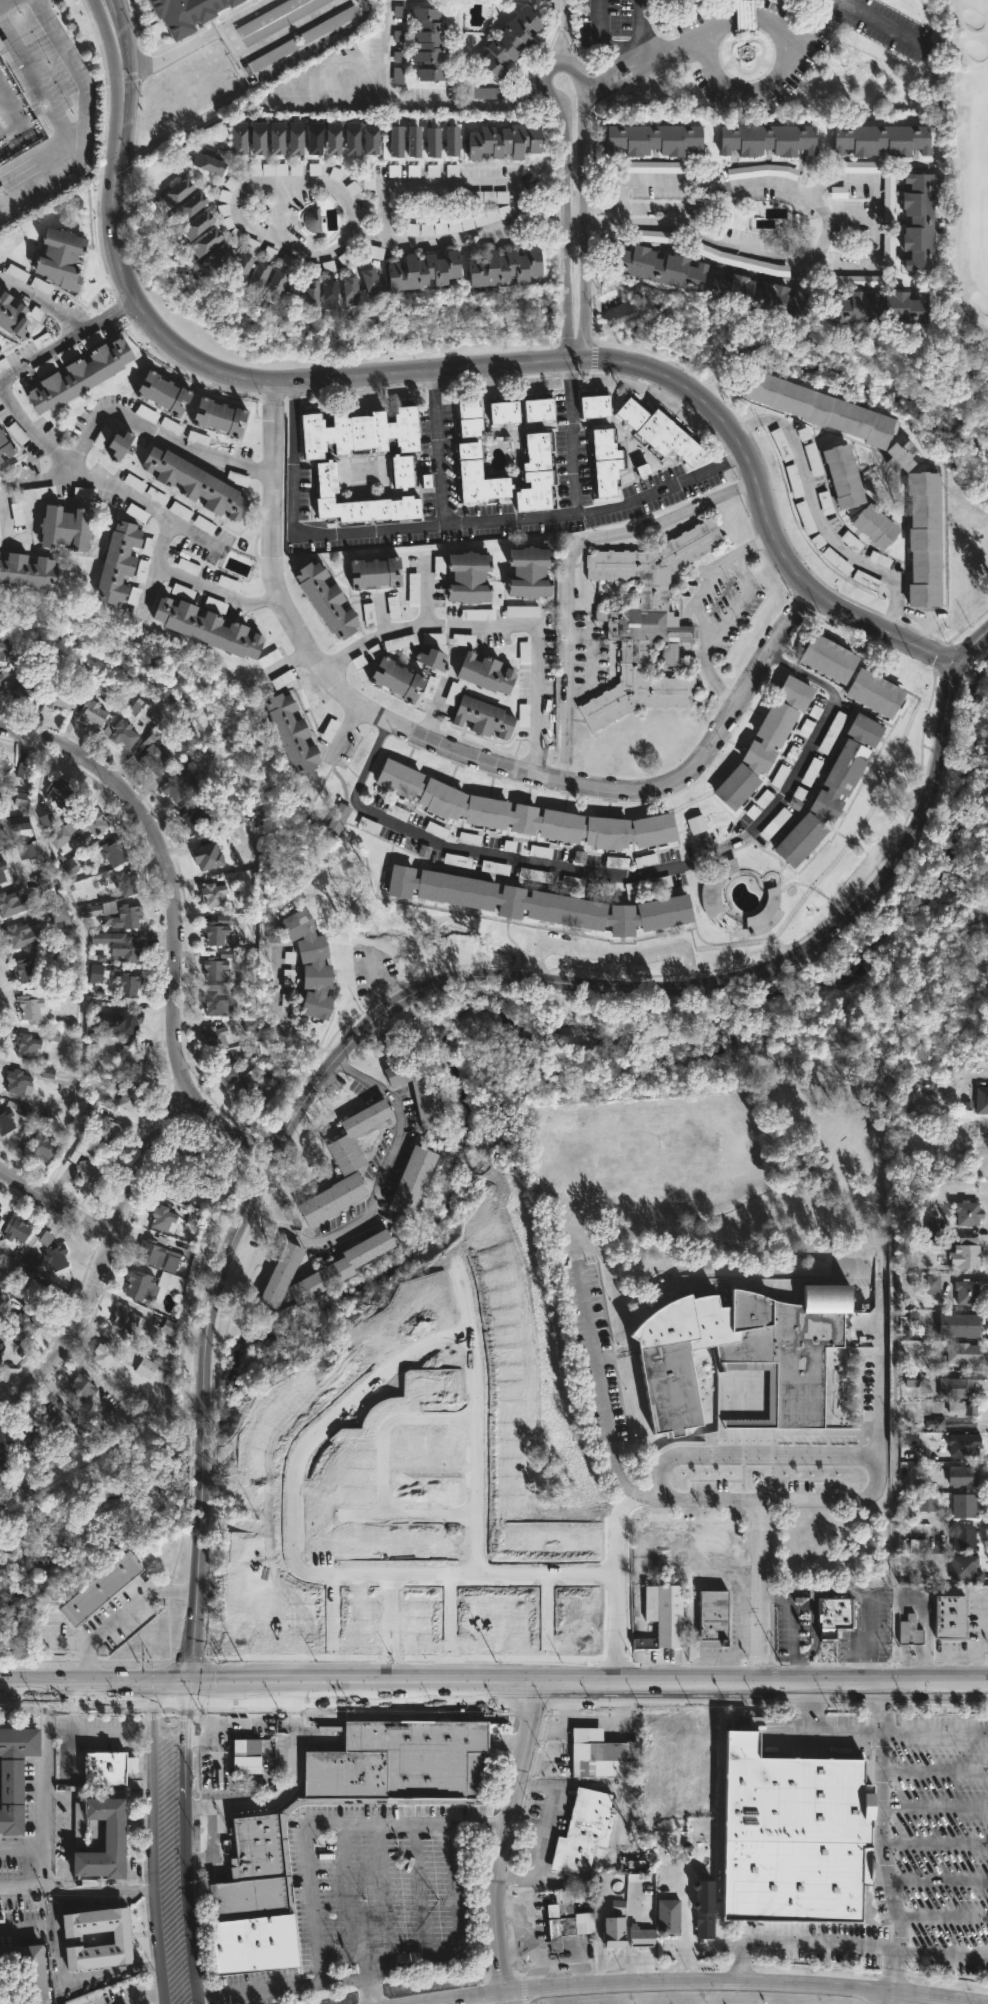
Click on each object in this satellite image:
building: (801, 0)
building: (675, 1)
building: (687, 2)
road: (5, 3)
building: (184, 13)
building: (747, 15)
building: (280, 18)
road: (809, 24)
road: (882, 24)
building: (329, 25)
road: (561, 26)
road: (641, 28)
road: (195, 34)
road: (601, 36)
building: (512, 42)
building: (429, 45)
road: (647, 54)
building: (274, 56)
road: (562, 58)
road: (643, 69)
road: (757, 90)
road: (545, 96)
road: (409, 98)
road: (583, 111)
road: (84, 122)
building: (313, 136)
building: (332, 136)
building: (351, 136)
building: (370, 136)
building: (238, 137)
building: (294, 137)
building: (258, 138)
building: (276, 138)
building: (504, 138)
building: (656, 139)
building: (767, 139)
building: (883, 140)
building: (395, 141)
building: (452, 141)
building: (413, 142)
building: (432, 142)
building: (207, 162)
road: (959, 174)
road: (659, 175)
road: (439, 180)
park: (968, 190)
building: (177, 192)
building: (191, 205)
road: (657, 207)
road: (601, 208)
road: (574, 214)
road: (621, 215)
road: (693, 215)
building: (312, 218)
road: (851, 219)
building: (919, 219)
road: (566, 221)
building: (197, 224)
road: (876, 224)
building: (207, 240)
road: (319, 251)
building: (57, 254)
building: (220, 254)
road: (795, 255)
building: (656, 265)
building: (504, 266)
building: (240, 269)
building: (422, 270)
building: (257, 277)
building: (370, 280)
road: (583, 282)
building: (273, 285)
building: (349, 289)
building: (734, 289)
building: (311, 292)
building: (328, 292)
building: (783, 300)
road: (45, 302)
building: (878, 306)
building: (11, 316)
road: (64, 343)
road: (573, 352)
road: (441, 367)
building: (78, 376)
building: (163, 394)
building: (593, 404)
building: (820, 407)
building: (540, 408)
building: (506, 410)
building: (469, 416)
building: (219, 417)
road: (129, 421)
building: (359, 430)
building: (0, 431)
building: (659, 431)
road: (572, 435)
building: (115, 443)
building: (783, 446)
building: (5, 447)
road: (440, 449)
building: (902, 456)
building: (605, 460)
building: (815, 460)
road: (82, 470)
building: (400, 470)
building: (536, 473)
building: (844, 475)
building: (476, 476)
building: (192, 481)
building: (796, 481)
building: (360, 499)
building: (827, 503)
road: (817, 512)
road: (3, 513)
building: (807, 518)
road: (516, 522)
building: (63, 526)
building: (877, 527)
building: (927, 538)
park: (969, 552)
building: (116, 561)
building: (838, 562)
road: (570, 566)
building: (26, 570)
building: (529, 571)
building: (373, 572)
building: (468, 577)
building: (870, 582)
road: (194, 591)
road: (428, 595)
building: (324, 599)
road: (698, 608)
road: (924, 618)
building: (646, 621)
road: (496, 626)
building: (208, 627)
road: (969, 646)
building: (4, 650)
building: (671, 654)
building: (831, 657)
building: (429, 659)
building: (485, 672)
building: (395, 679)
building: (1, 680)
building: (24, 686)
building: (877, 691)
building: (59, 697)
building: (93, 712)
building: (483, 717)
building: (293, 732)
building: (123, 733)
building: (766, 743)
road: (460, 752)
building: (153, 753)
building: (3, 766)
building: (179, 788)
building: (58, 789)
building: (833, 790)
building: (0, 805)
building: (524, 812)
building: (338, 819)
building: (194, 822)
building: (776, 825)
building: (79, 827)
building: (0, 843)
building: (27, 852)
building: (114, 852)
building: (208, 857)
road: (167, 867)
building: (2, 871)
road: (625, 874)
building: (125, 881)
building: (718, 887)
building: (212, 894)
building: (539, 901)
building: (13, 903)
building: (60, 914)
building: (129, 915)
building: (762, 915)
building: (215, 930)
building: (24, 935)
building: (119, 944)
road: (615, 952)
building: (310, 964)
building: (215, 969)
building: (26, 970)
road: (378, 977)
road: (542, 980)
building: (128, 983)
building: (217, 1000)
building: (30, 1008)
road: (281, 1019)
building: (125, 1021)
building: (215, 1037)
building: (26, 1045)
building: (129, 1057)
building: (409, 1067)
building: (226, 1068)
building: (19, 1083)
building: (251, 1093)
building: (129, 1096)
building: (432, 1101)
building: (6, 1121)
road: (230, 1123)
building: (105, 1129)
building: (350, 1135)
building: (42, 1146)
building: (191, 1151)
building: (217, 1165)
building: (89, 1171)
building: (177, 1184)
building: (211, 1187)
building: (412, 1187)
road: (377, 1188)
building: (334, 1199)
road: (53, 1201)
building: (0, 1208)
building: (1, 1212)
building: (969, 1213)
building: (162, 1218)
building: (196, 1219)
building: (17, 1229)
road: (32, 1241)
road: (99, 1253)
building: (157, 1256)
building: (967, 1256)
building: (55, 1257)
building: (343, 1266)
building: (278, 1278)
building: (141, 1285)
building: (968, 1291)
building: (40, 1298)
building: (125, 1319)
building: (960, 1325)
building: (20, 1326)
building: (916, 1330)
building: (964, 1353)
building: (0, 1354)
building: (104, 1355)
building: (745, 1358)
building: (146, 1367)
road: (597, 1382)
road: (877, 1386)
building: (80, 1387)
building: (958, 1387)
building: (55, 1414)
building: (967, 1414)
road: (474, 1420)
road: (385, 1421)
building: (32, 1433)
road: (894, 1440)
building: (963, 1449)
road: (202, 1454)
building: (4, 1463)
road: (874, 1463)
building: (962, 1476)
building: (927, 1504)
building: (965, 1506)
road: (406, 1512)
building: (965, 1540)
road: (295, 1560)
building: (966, 1569)
road: (614, 1573)
building: (362, 1574)
building: (99, 1589)
road: (756, 1592)
road: (196, 1603)
road: (116, 1613)
building: (715, 1613)
building: (835, 1614)
building: (664, 1615)
building: (953, 1619)
road: (386, 1628)
road: (985, 1629)
building: (911, 1631)
road: (963, 1655)
road: (493, 1688)
traffic signals: (176, 1689)
road: (217, 1722)
road: (253, 1723)
road: (89, 1734)
road: (825, 1734)
road: (937, 1735)
building: (246, 1757)
building: (610, 1757)
building: (109, 1767)
building: (14, 1774)
road: (938, 1775)
road: (45, 1809)
road: (937, 1809)
road: (328, 1825)
building: (585, 1832)
road: (889, 1838)
building: (113, 1839)
building: (261, 1839)
building: (793, 1839)
road: (504, 1840)
road: (154, 1842)
road: (186, 1845)
road: (939, 1847)
road: (22, 1850)
road: (940, 1883)
road: (99, 1888)
building: (647, 1905)
road: (684, 1913)
building: (570, 1916)
building: (668, 1917)
road: (942, 1919)
building: (705, 1923)
road: (55, 1929)
road: (530, 1929)
building: (615, 1931)
building: (642, 1936)
building: (122, 1940)
road: (849, 1946)
road: (573, 1953)
road: (515, 1955)
road: (678, 1966)
road: (692, 1966)
building: (28, 1970)
road: (114, 1970)
road: (704, 1981)
road: (298, 1983)
road: (889, 1996)
road: (143, 1998)
road: (502, 1998)
building: (0, 2001)

